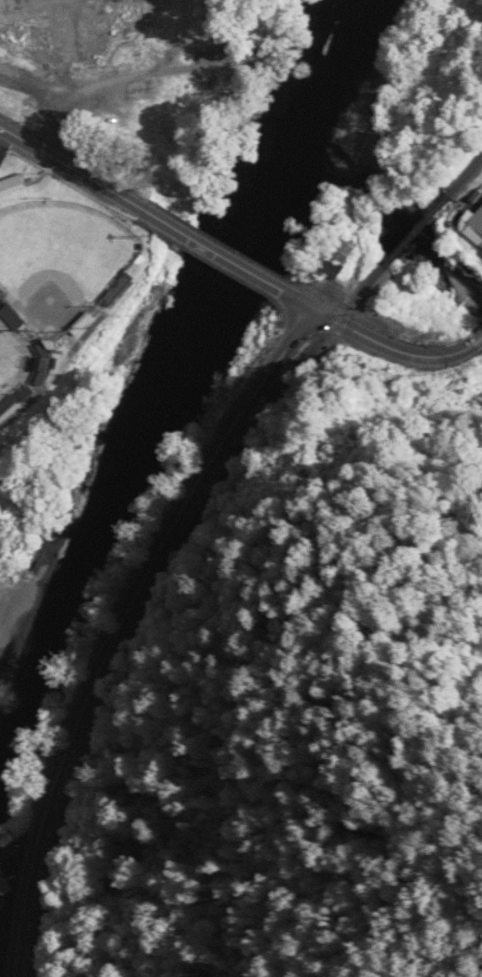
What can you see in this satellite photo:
building: (73, 27)
road: (168, 49)
building: (141, 89)
road: (72, 167)
railway: (464, 175)
building: (13, 186)
building: (473, 228)
railway: (414, 230)
road: (215, 251)
park: (61, 258)
building: (333, 258)
road: (150, 267)
road: (300, 302)
park: (14, 356)
river: (174, 365)
road: (162, 543)
railway: (151, 595)
building: (4, 886)
road: (12, 918)

